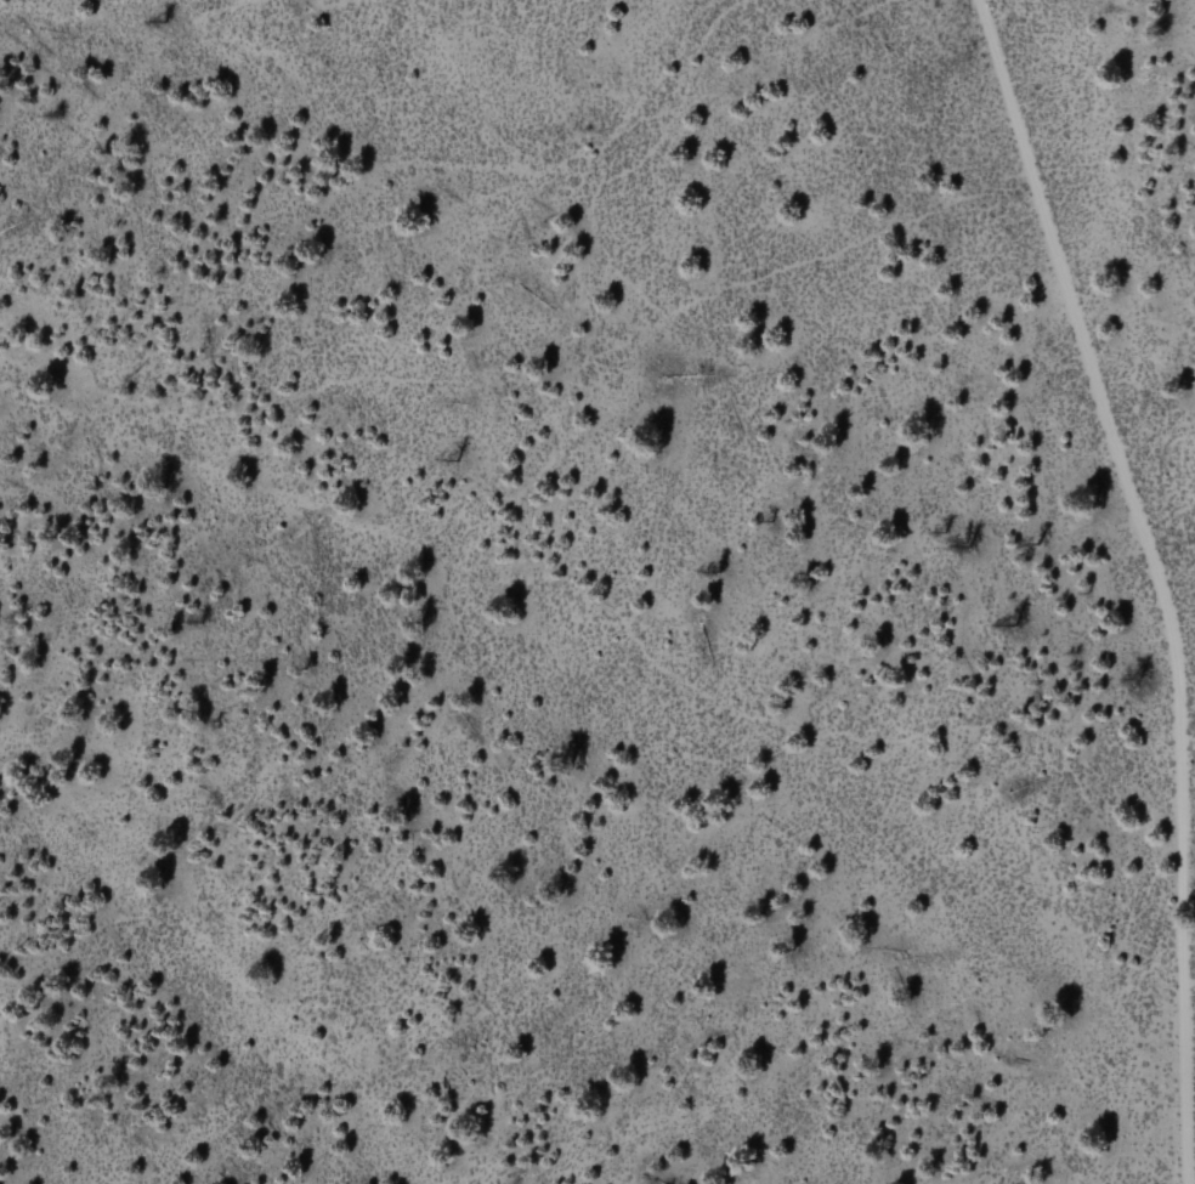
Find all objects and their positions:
road: (636, 549)
road: (1157, 579)
road: (1189, 761)
road: (237, 967)

